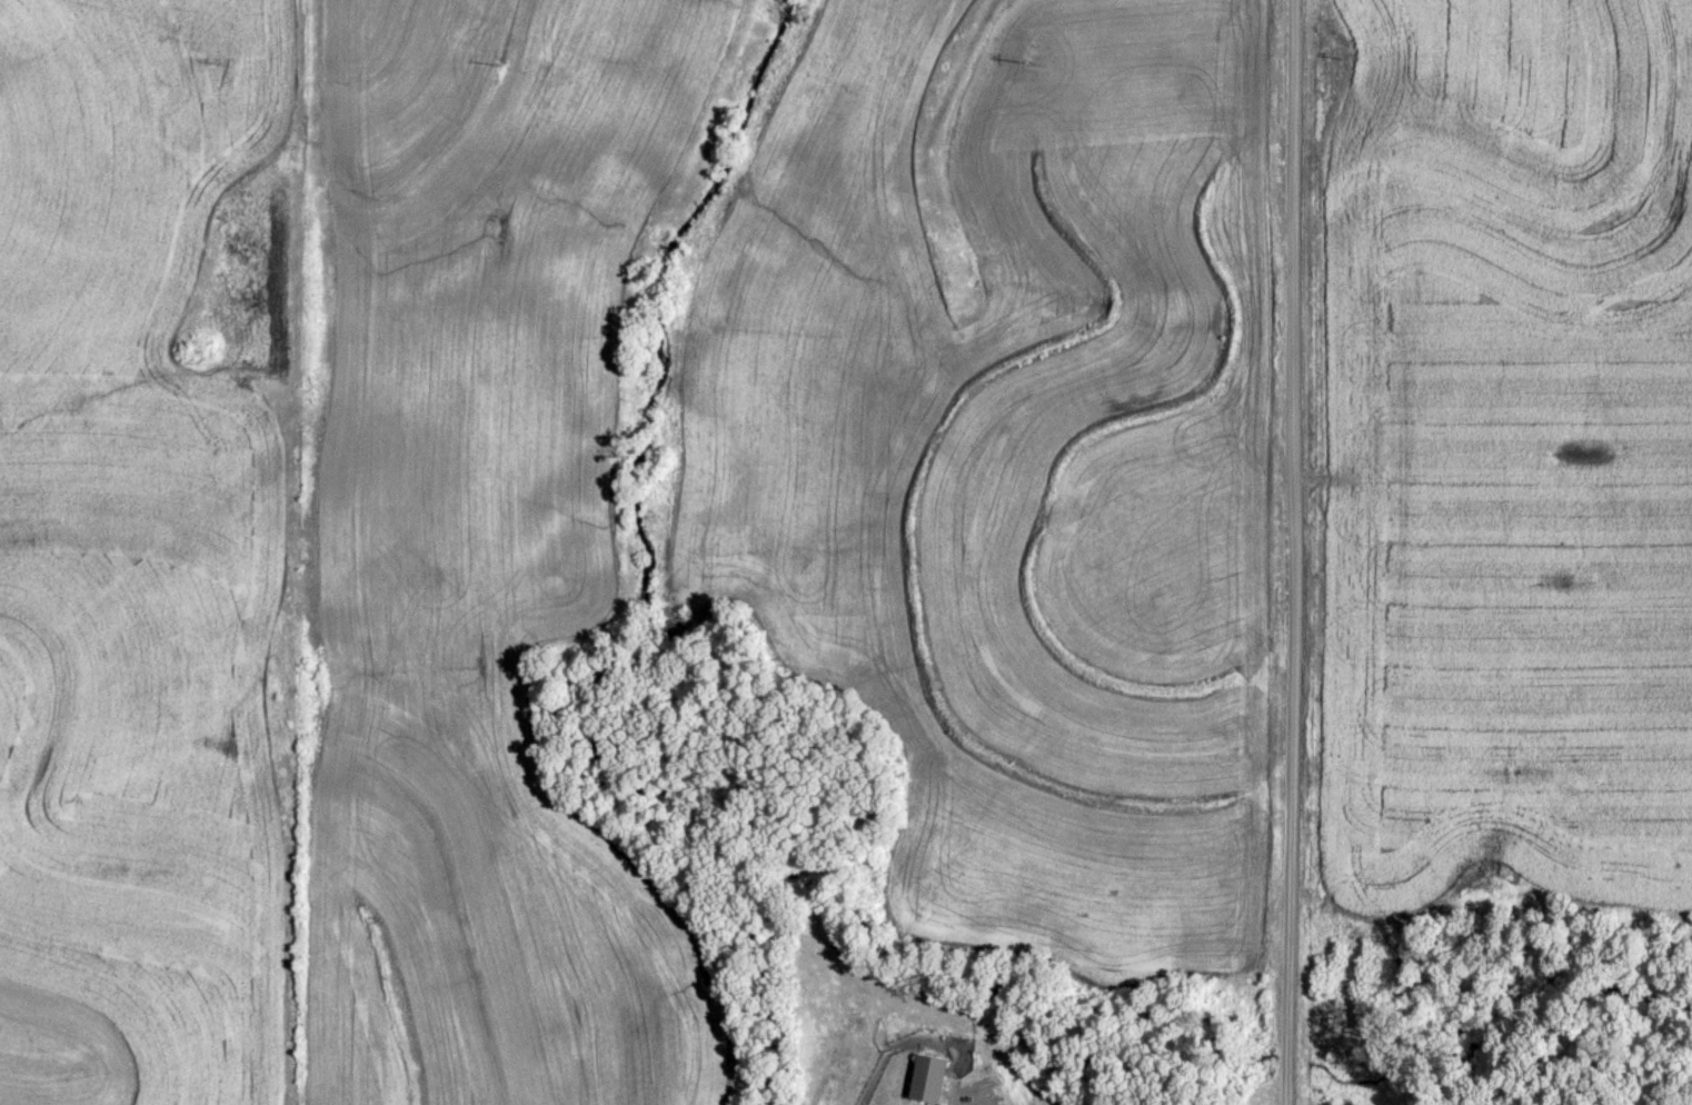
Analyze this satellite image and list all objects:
road: (1291, 552)
building: (926, 1077)

